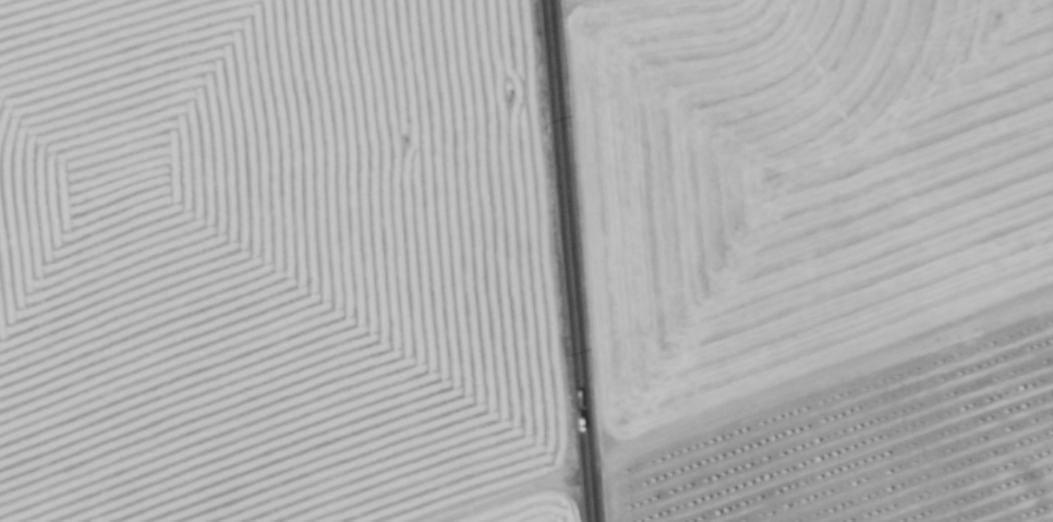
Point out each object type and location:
crop: (800, 180)
road: (568, 260)
crop: (269, 264)

